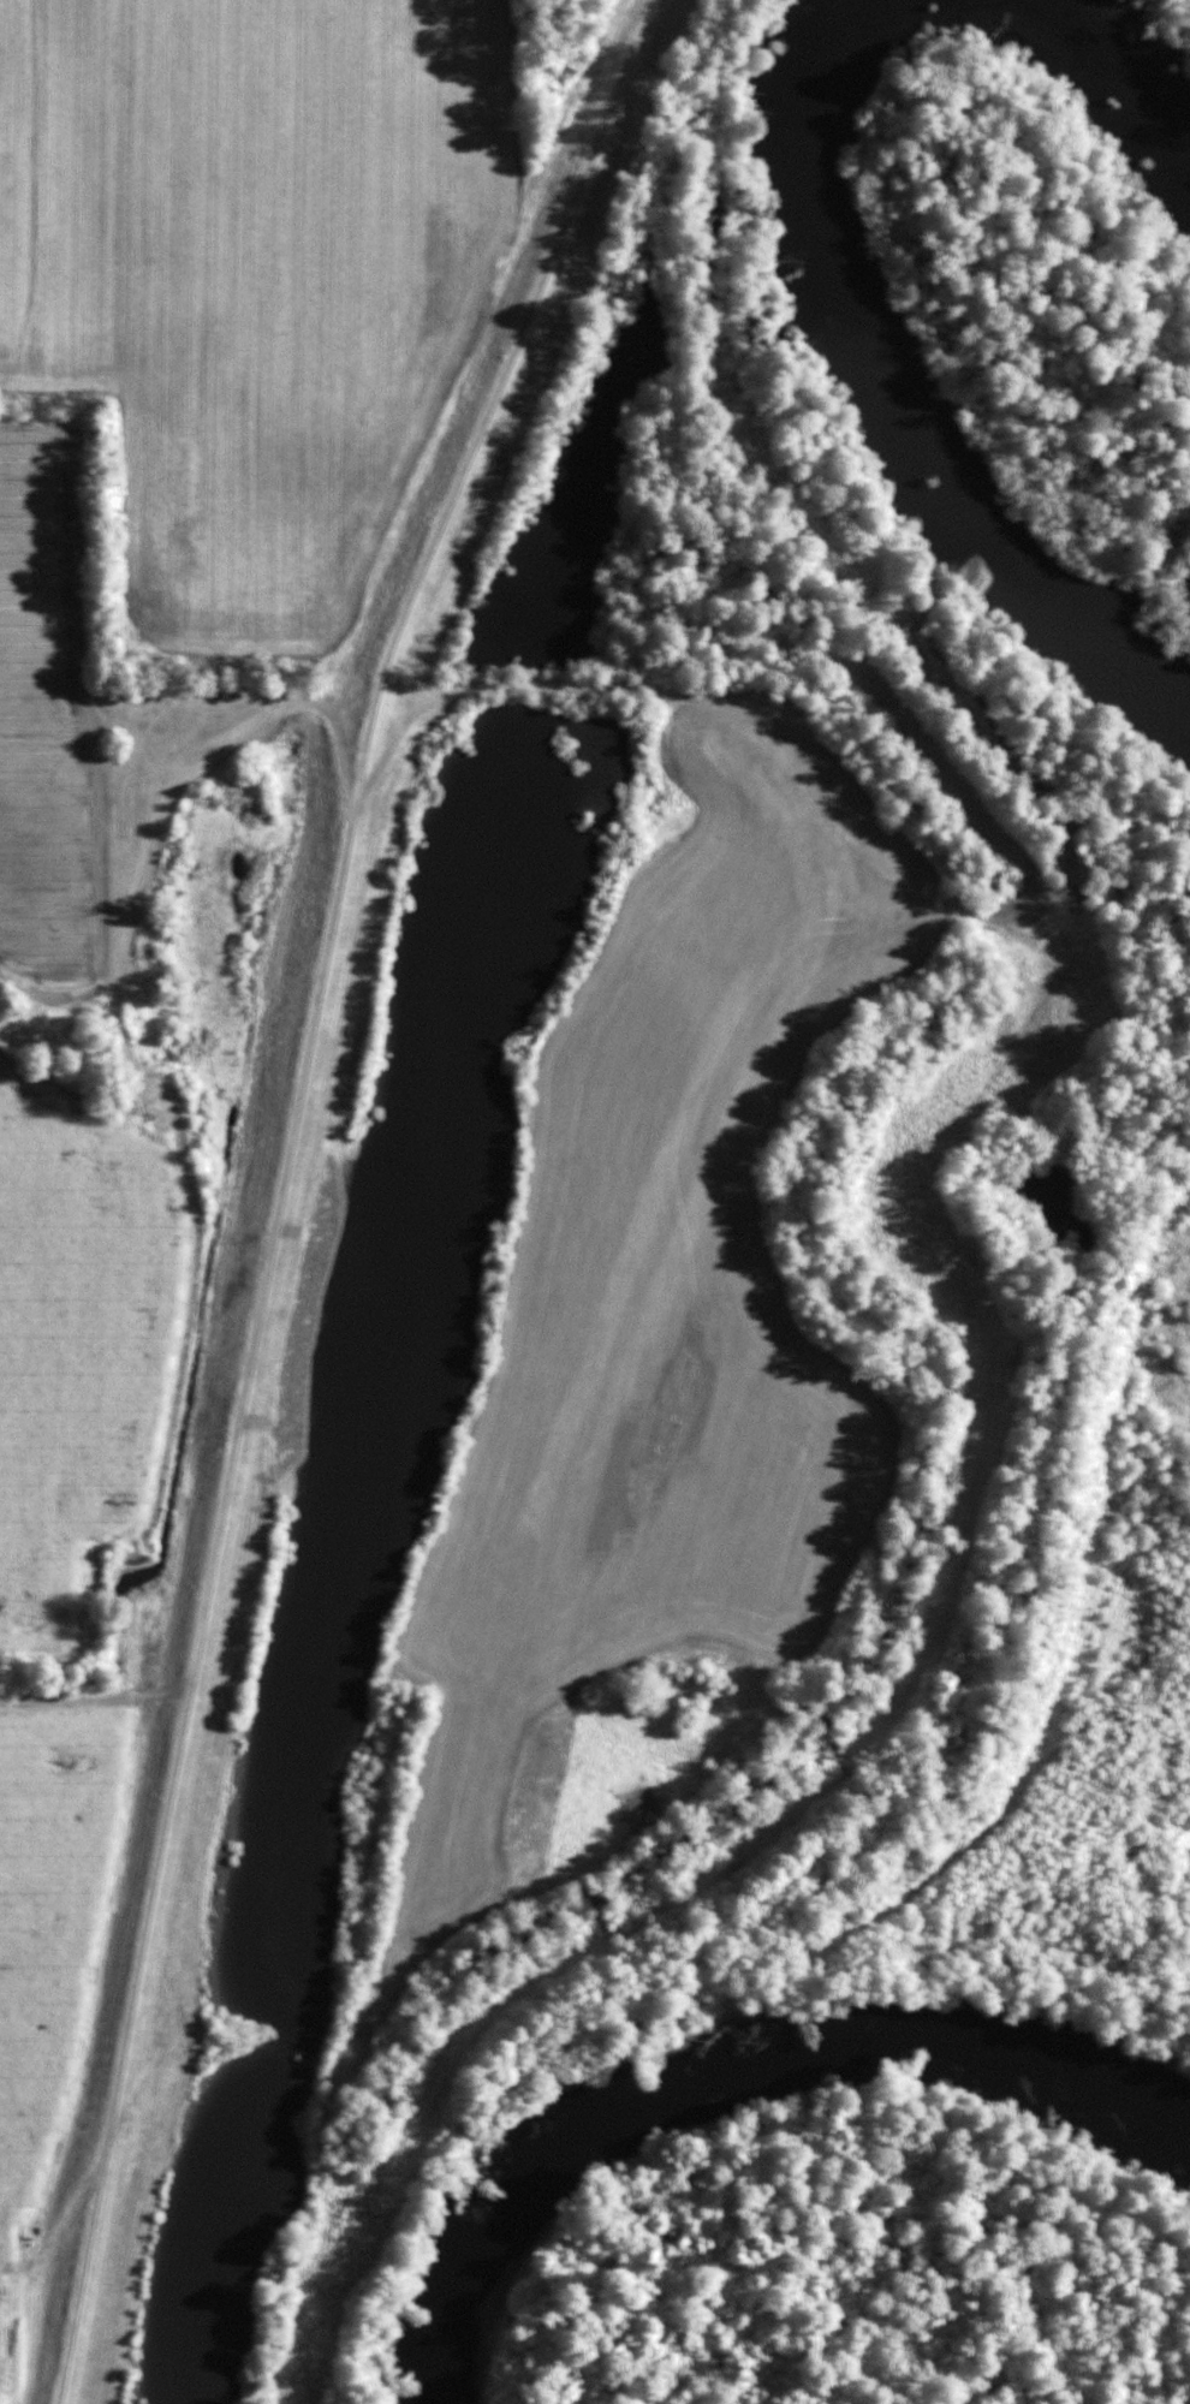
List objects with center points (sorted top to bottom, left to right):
river: (730, 2077)

